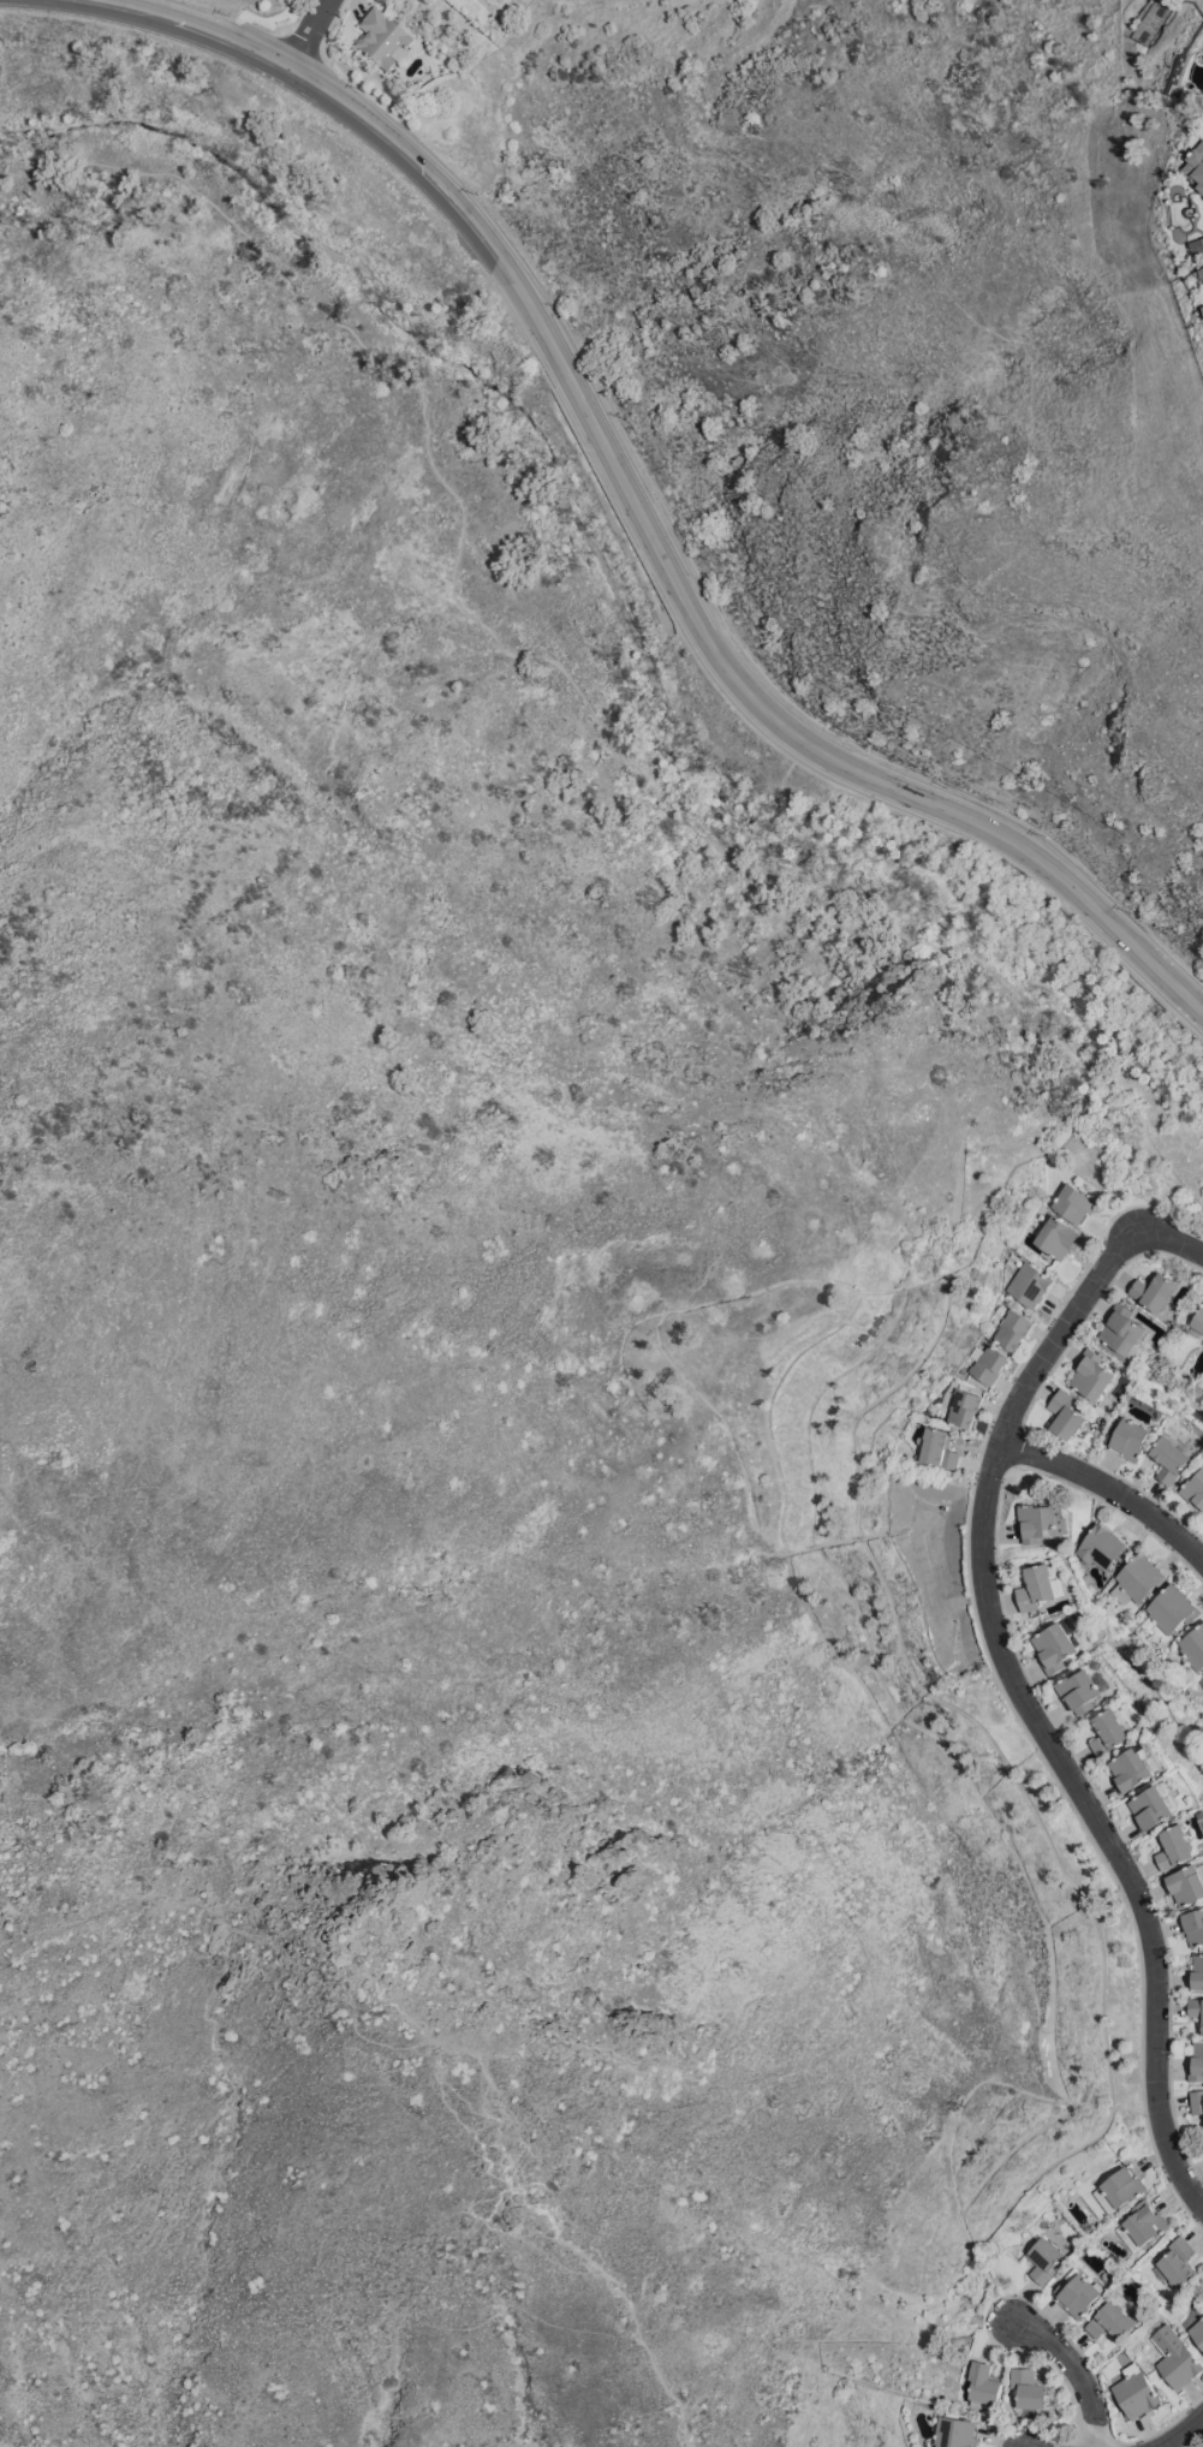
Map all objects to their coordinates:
road: (285, 5)
road: (246, 10)
road: (308, 32)
building: (382, 40)
building: (1196, 165)
building: (1196, 245)
building: (1202, 272)
road: (636, 506)
road: (562, 666)
building: (1074, 1202)
building: (1058, 1237)
road: (1172, 1237)
building: (1029, 1284)
building: (1156, 1291)
building: (1197, 1326)
building: (1012, 1328)
building: (1122, 1332)
building: (988, 1363)
building: (1092, 1374)
building: (964, 1406)
building: (1065, 1415)
building: (1131, 1437)
building: (939, 1447)
building: (1174, 1457)
road: (1108, 1488)
building: (1195, 1489)
building: (1041, 1522)
building: (1102, 1546)
building: (1138, 1579)
building: (1038, 1586)
building: (1172, 1609)
building: (1056, 1645)
building: (1193, 1647)
building: (1096, 1663)
building: (1202, 1681)
building: (1082, 1689)
road: (1030, 1710)
building: (1110, 1731)
building: (1130, 1769)
building: (1155, 1805)
building: (1178, 1847)
building: (1186, 1885)
building: (1193, 1925)
building: (1197, 1972)
building: (1197, 2006)
road: (405, 2047)
building: (1197, 2062)
building: (1197, 2101)
building: (1124, 2185)
building: (1143, 2226)
building: (1044, 2258)
building: (1177, 2263)
building: (1077, 2292)
building: (1112, 2318)
building: (1197, 2330)
building: (1175, 2357)
road: (1074, 2371)
building: (983, 2383)
building: (1029, 2388)
building: (1136, 2391)
road: (1180, 2430)
building: (954, 2431)

